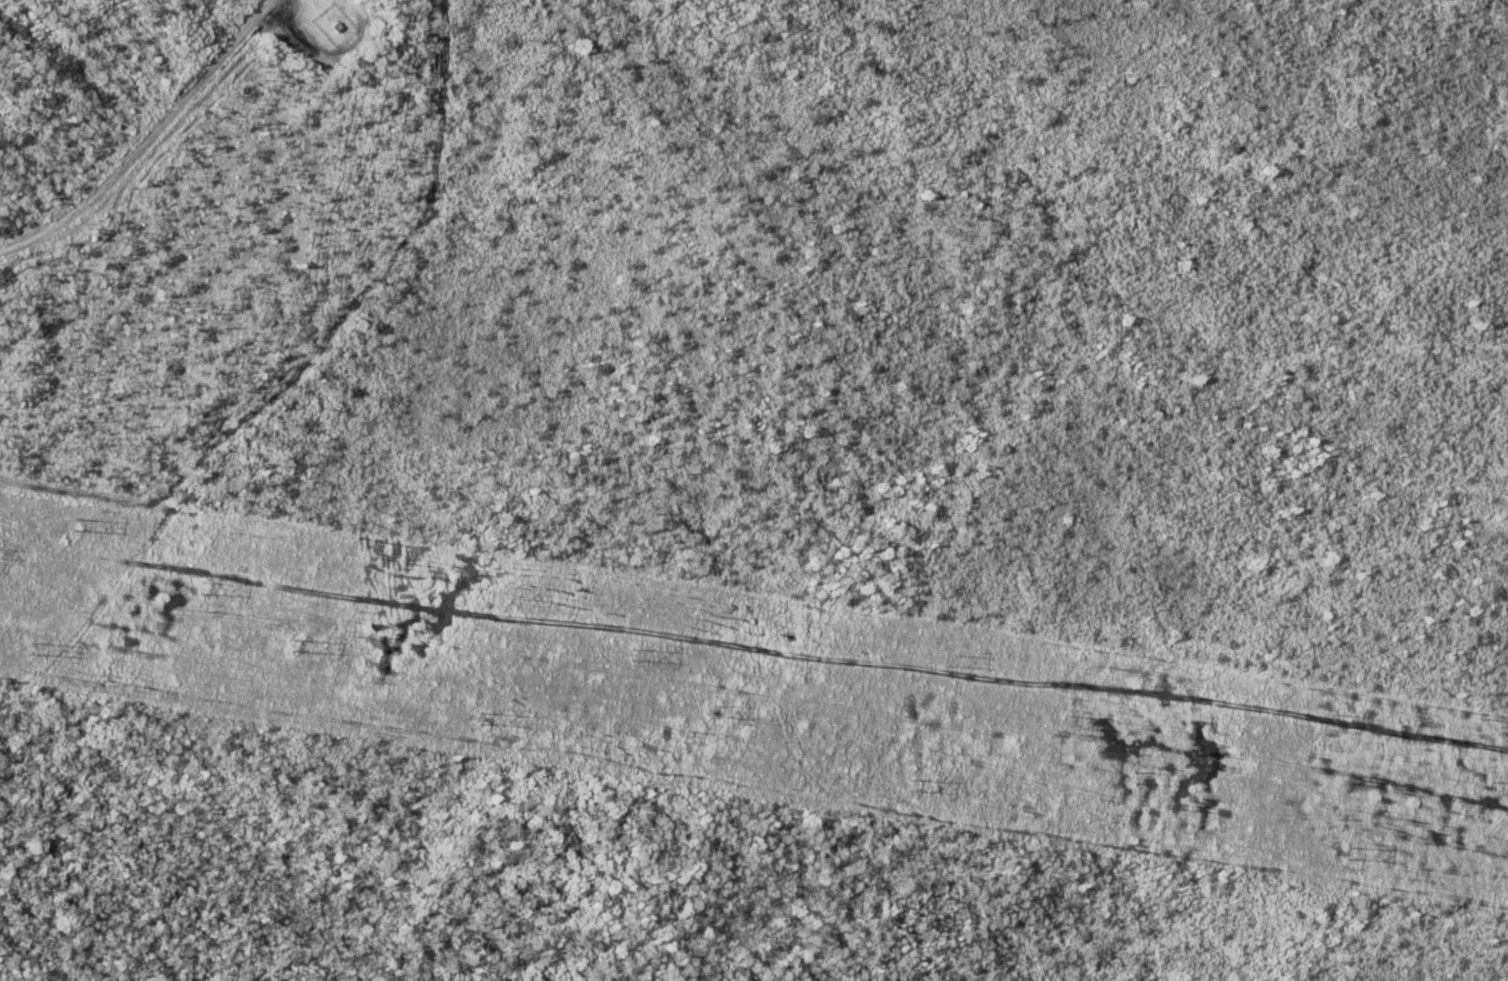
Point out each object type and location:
road: (149, 141)
power tower: (77, 523)
power tower: (205, 585)
power tower: (510, 588)
power tower: (295, 637)
power tower: (36, 646)
power tower: (636, 653)
power tower: (945, 653)
power tower: (712, 708)
power tower: (1323, 712)
power tower: (486, 717)
power tower: (1065, 718)
power tower: (1134, 774)
power tower: (913, 784)
power tower: (1490, 786)
power tower: (1348, 853)

